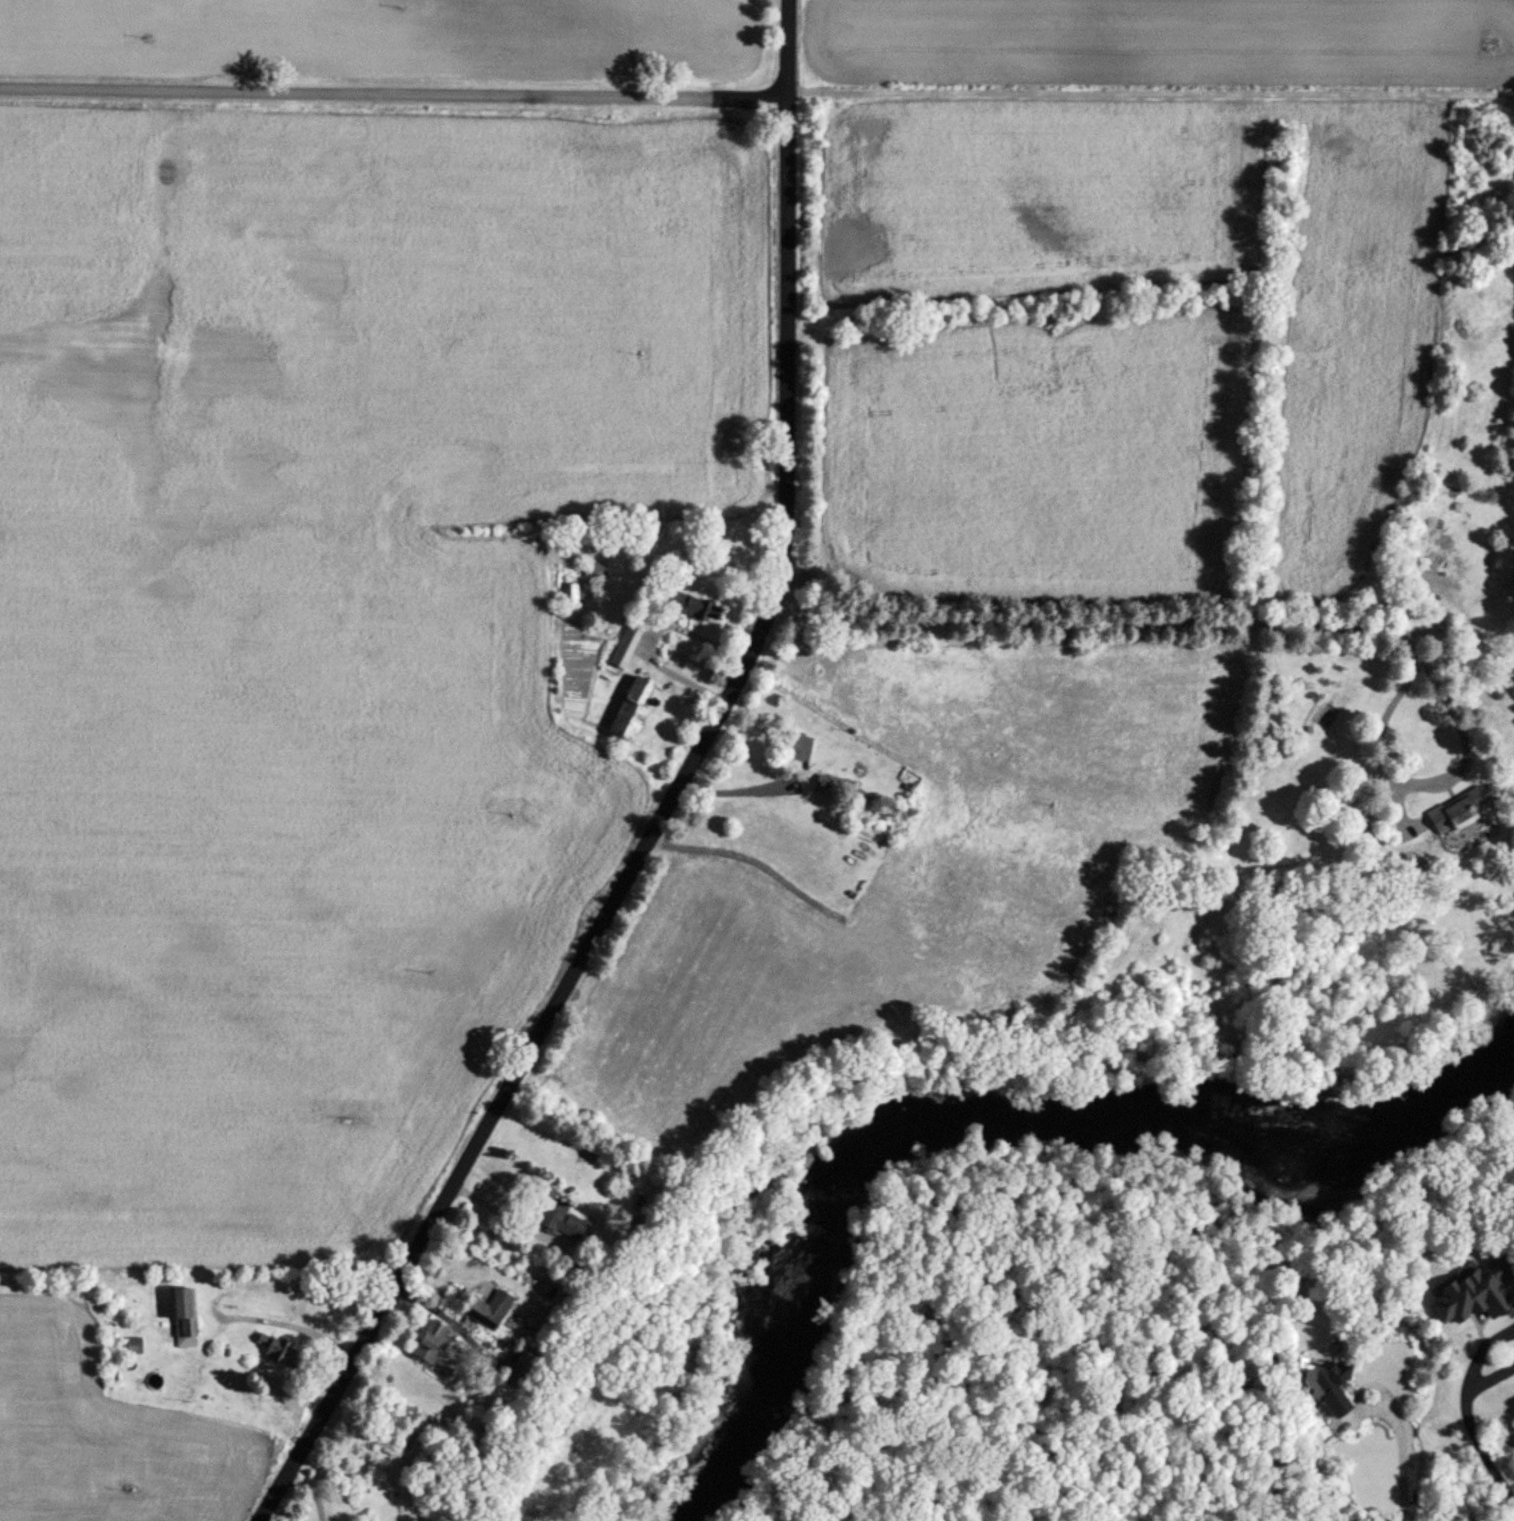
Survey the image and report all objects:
road: (395, 94)
building: (595, 570)
building: (569, 595)
building: (688, 605)
road: (1102, 624)
road: (650, 636)
building: (624, 647)
road: (1453, 708)
building: (630, 711)
building: (821, 781)
road: (741, 790)
road: (673, 802)
building: (1456, 812)
river: (996, 1117)
building: (559, 1220)
building: (1474, 1294)
building: (484, 1310)
building: (181, 1317)
road: (292, 1326)
building: (430, 1343)
building: (132, 1346)
park: (1030, 1346)
building: (272, 1349)
building: (510, 1376)
building: (1330, 1386)
road: (1470, 1427)
road: (1402, 1458)
road: (312, 1492)
road: (1427, 1520)

